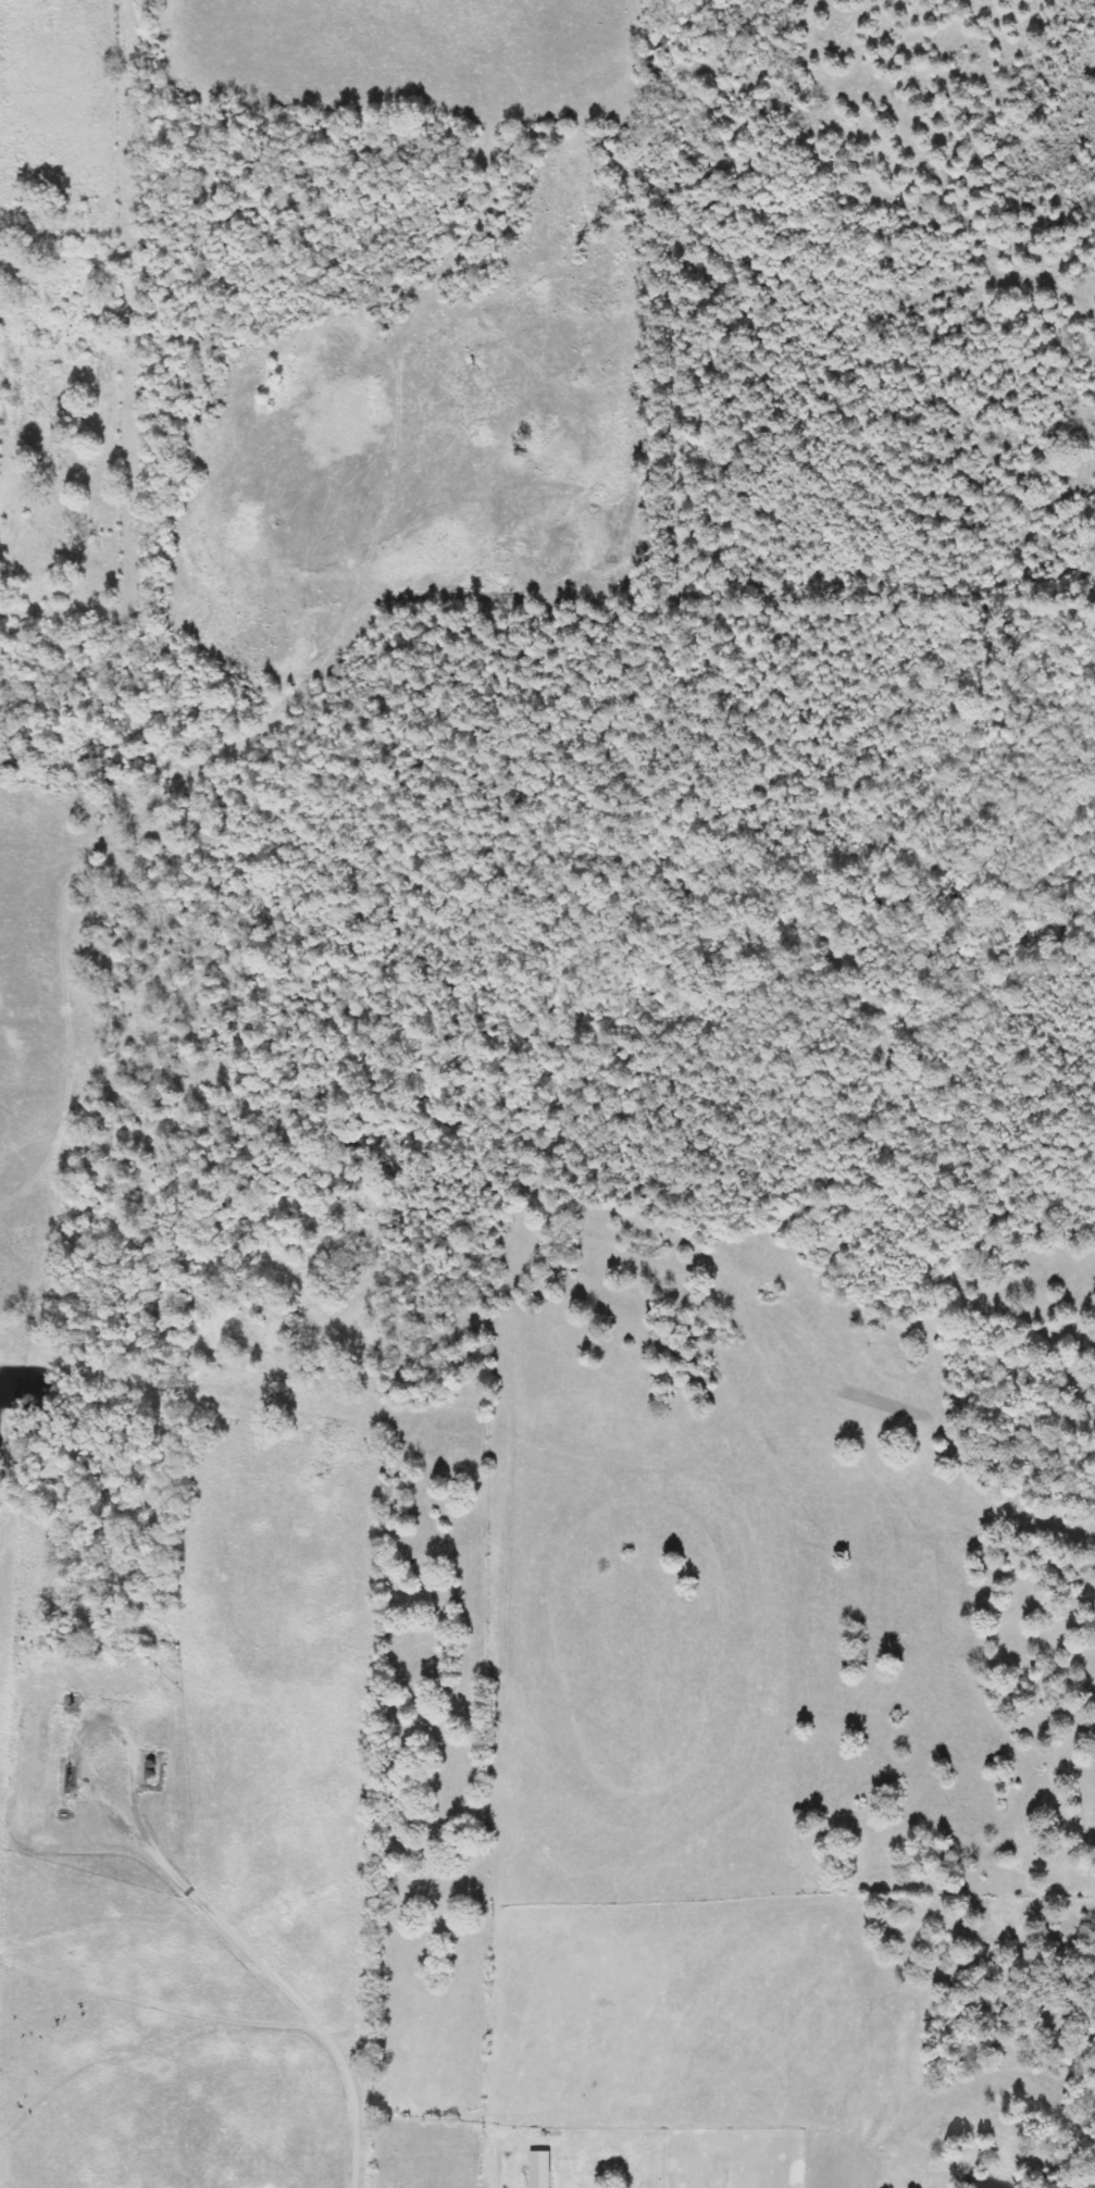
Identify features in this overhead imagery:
building: (540, 2170)

